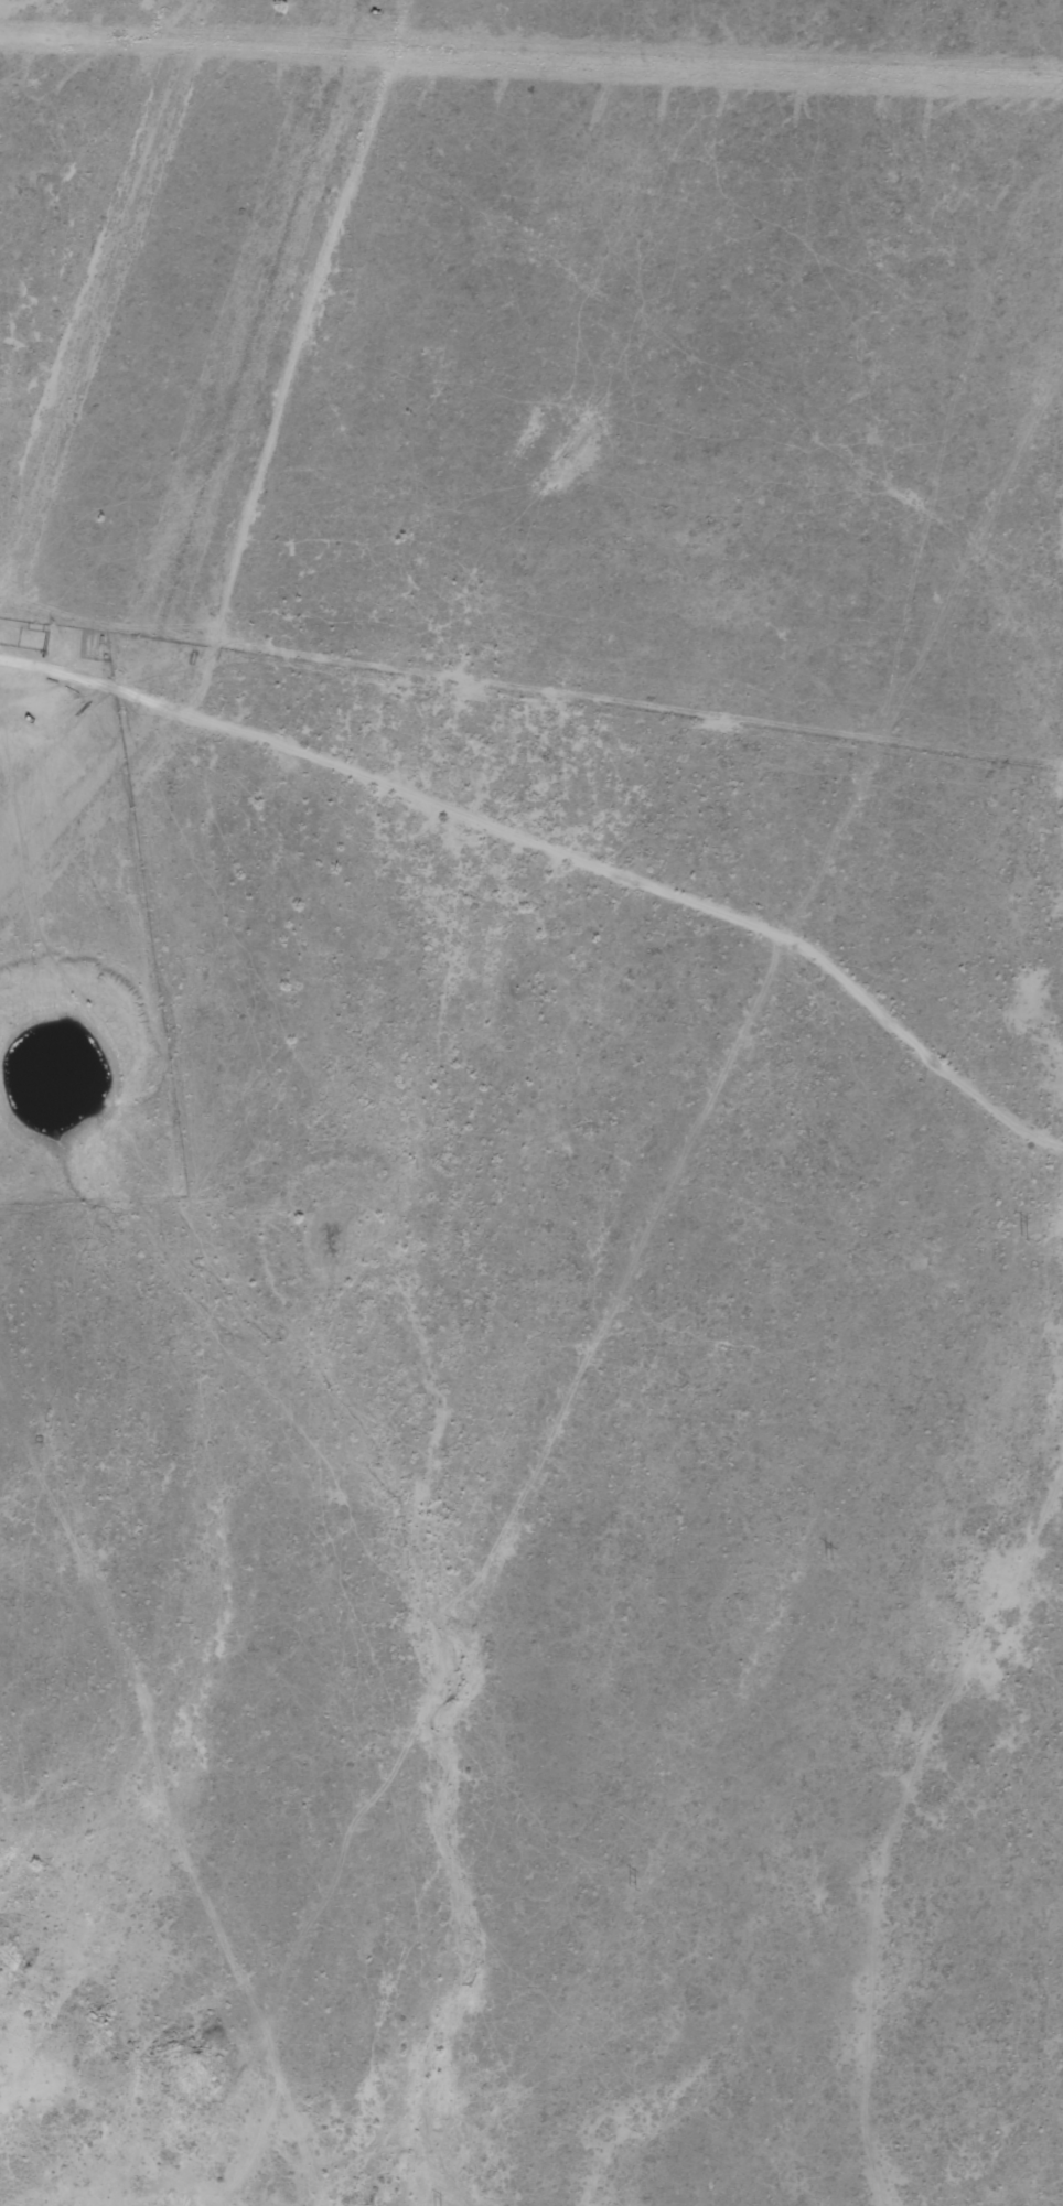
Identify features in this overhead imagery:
road: (546, 893)
power tower: (1019, 1238)
power tower: (826, 1561)
power tower: (627, 1887)
road: (44, 2182)

